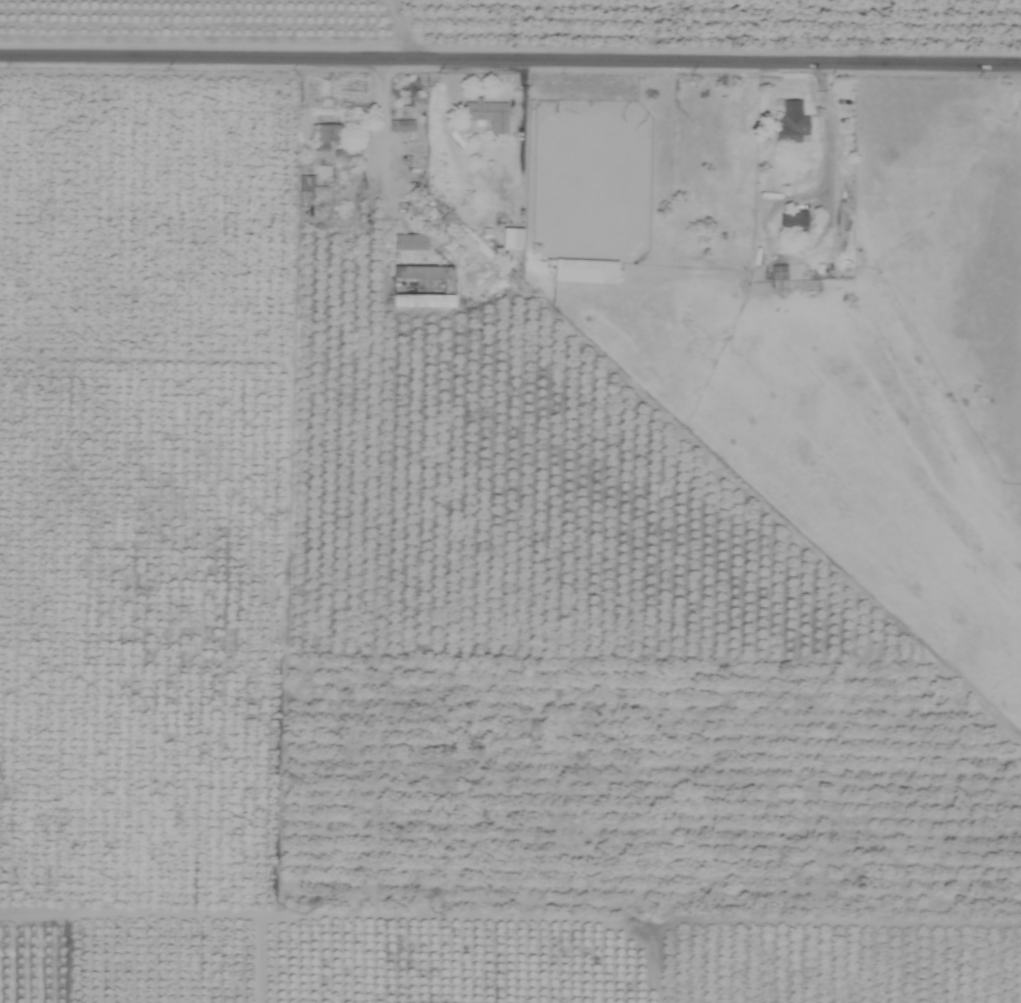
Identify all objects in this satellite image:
road: (402, 29)
road: (510, 59)
building: (485, 115)
building: (789, 123)
building: (399, 126)
road: (376, 134)
building: (323, 142)
building: (312, 178)
building: (791, 219)
building: (510, 238)
building: (408, 242)
building: (583, 271)
building: (425, 274)
building: (777, 276)
building: (420, 301)
crop: (510, 501)

